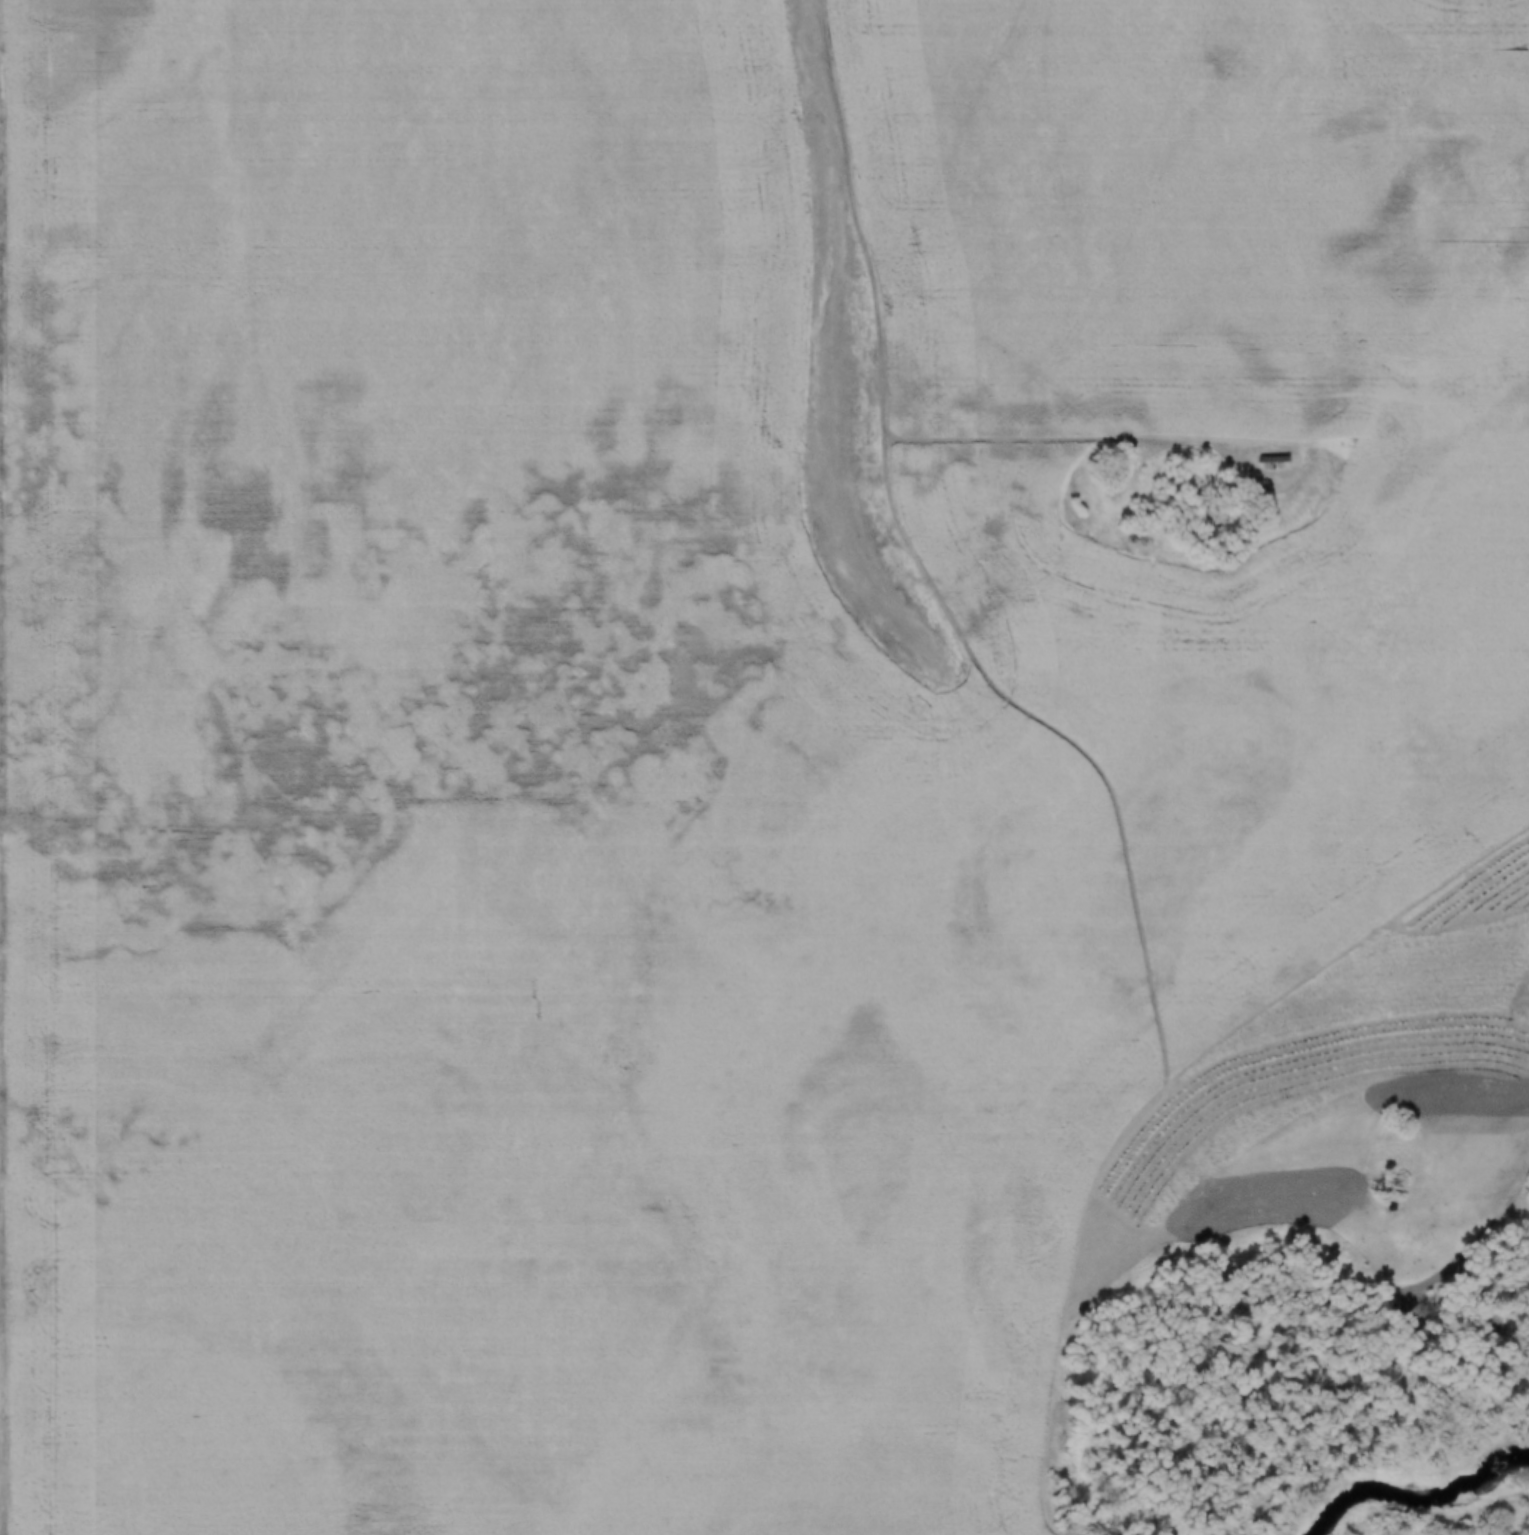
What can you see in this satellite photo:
building: (1270, 457)

